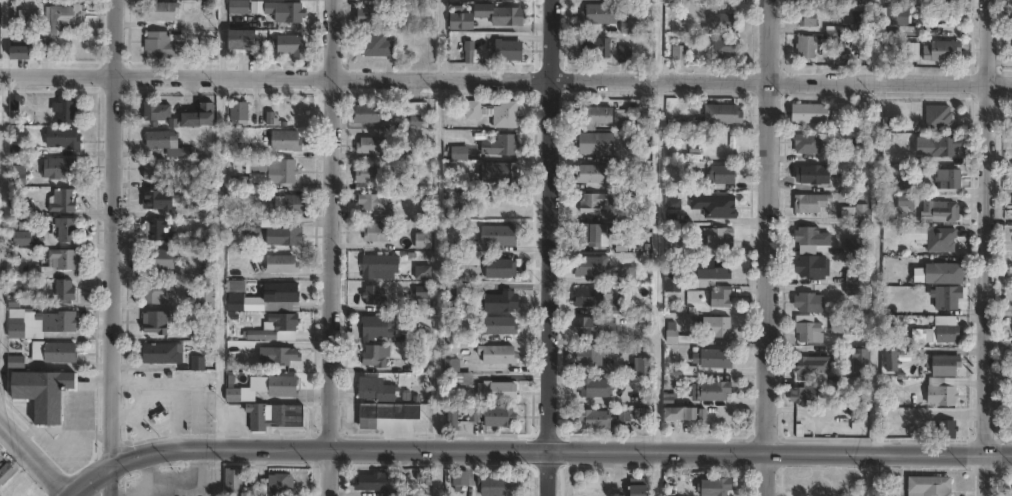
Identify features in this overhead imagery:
building: (514, 0)
building: (945, 0)
building: (240, 6)
building: (484, 11)
building: (161, 12)
building: (289, 13)
building: (601, 15)
building: (368, 16)
building: (509, 16)
building: (895, 17)
building: (63, 19)
building: (804, 19)
building: (853, 21)
building: (727, 22)
building: (244, 40)
road: (878, 41)
building: (166, 45)
building: (379, 45)
building: (292, 46)
building: (597, 47)
building: (803, 47)
building: (47, 48)
building: (728, 48)
building: (21, 49)
building: (511, 51)
building: (680, 52)
building: (939, 52)
building: (470, 53)
building: (627, 55)
road: (506, 80)
building: (66, 108)
building: (158, 110)
building: (475, 110)
building: (241, 113)
building: (808, 113)
building: (373, 115)
building: (419, 115)
building: (505, 115)
building: (725, 115)
building: (938, 116)
building: (604, 117)
building: (201, 118)
building: (649, 118)
building: (271, 119)
building: (64, 137)
building: (288, 141)
building: (169, 143)
building: (805, 143)
building: (939, 145)
building: (376, 146)
building: (502, 146)
building: (598, 146)
building: (24, 150)
building: (461, 154)
building: (63, 167)
building: (165, 169)
building: (284, 172)
building: (500, 173)
building: (594, 173)
building: (374, 175)
building: (723, 175)
building: (812, 175)
building: (19, 177)
building: (947, 177)
building: (192, 182)
building: (686, 183)
building: (459, 186)
building: (902, 186)
building: (161, 199)
building: (64, 200)
building: (596, 202)
building: (808, 202)
building: (378, 203)
building: (903, 203)
building: (293, 205)
building: (716, 205)
building: (24, 207)
building: (429, 209)
building: (939, 210)
building: (860, 213)
building: (626, 215)
road: (438, 223)
road: (983, 226)
building: (68, 228)
building: (678, 228)
building: (253, 229)
building: (159, 230)
building: (379, 232)
building: (595, 233)
building: (805, 233)
building: (501, 235)
building: (285, 236)
building: (721, 238)
building: (937, 238)
building: (425, 240)
building: (209, 242)
building: (851, 245)
road: (111, 247)
road: (548, 247)
road: (764, 247)
road: (330, 248)
road: (2, 250)
building: (468, 258)
building: (161, 259)
building: (57, 263)
building: (284, 264)
building: (593, 265)
building: (809, 265)
building: (381, 266)
building: (503, 268)
building: (716, 269)
building: (203, 271)
building: (424, 271)
building: (943, 271)
building: (630, 274)
building: (674, 279)
building: (24, 285)
building: (466, 288)
building: (65, 290)
building: (156, 291)
building: (237, 292)
building: (281, 292)
building: (851, 294)
building: (376, 295)
building: (947, 295)
building: (208, 296)
building: (723, 296)
building: (591, 297)
building: (500, 301)
building: (807, 301)
building: (59, 321)
building: (157, 321)
building: (378, 326)
building: (719, 326)
building: (845, 326)
building: (18, 327)
building: (287, 327)
building: (599, 327)
building: (807, 328)
building: (945, 328)
building: (489, 329)
building: (680, 335)
building: (914, 337)
building: (61, 352)
building: (164, 353)
building: (500, 353)
building: (281, 354)
building: (377, 355)
building: (594, 356)
building: (858, 356)
building: (718, 358)
building: (891, 358)
building: (17, 360)
building: (198, 363)
building: (943, 363)
building: (452, 364)
building: (811, 364)
building: (645, 365)
building: (465, 378)
building: (285, 385)
building: (595, 387)
building: (377, 389)
building: (499, 390)
building: (718, 390)
building: (44, 392)
building: (941, 393)
building: (234, 394)
building: (636, 394)
building: (801, 394)
building: (390, 412)
building: (687, 413)
building: (279, 415)
building: (495, 415)
building: (258, 416)
building: (596, 418)
building: (455, 420)
building: (945, 427)
road: (518, 448)
road: (997, 453)
building: (1, 458)
road: (33, 458)
building: (6, 473)
road: (981, 474)
building: (462, 477)
building: (235, 481)
building: (384, 481)
building: (278, 483)
building: (500, 486)
building: (717, 486)
building: (926, 486)
building: (641, 490)
road: (68, 495)

